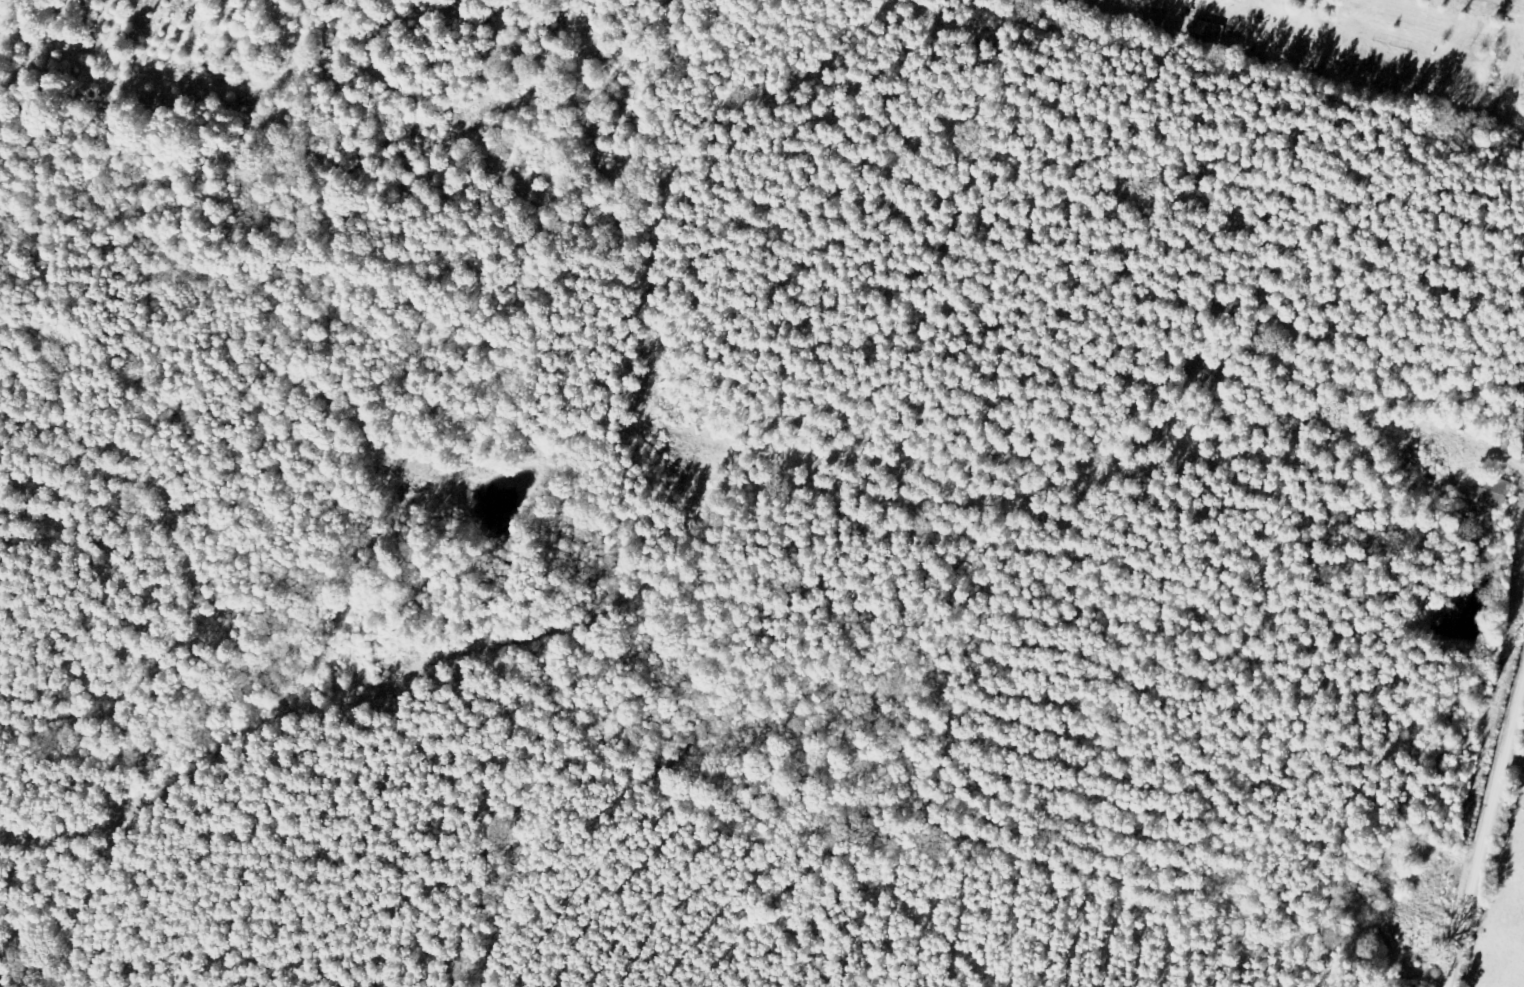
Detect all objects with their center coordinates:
road: (1353, 379)
building: (1497, 493)
road: (1499, 885)

